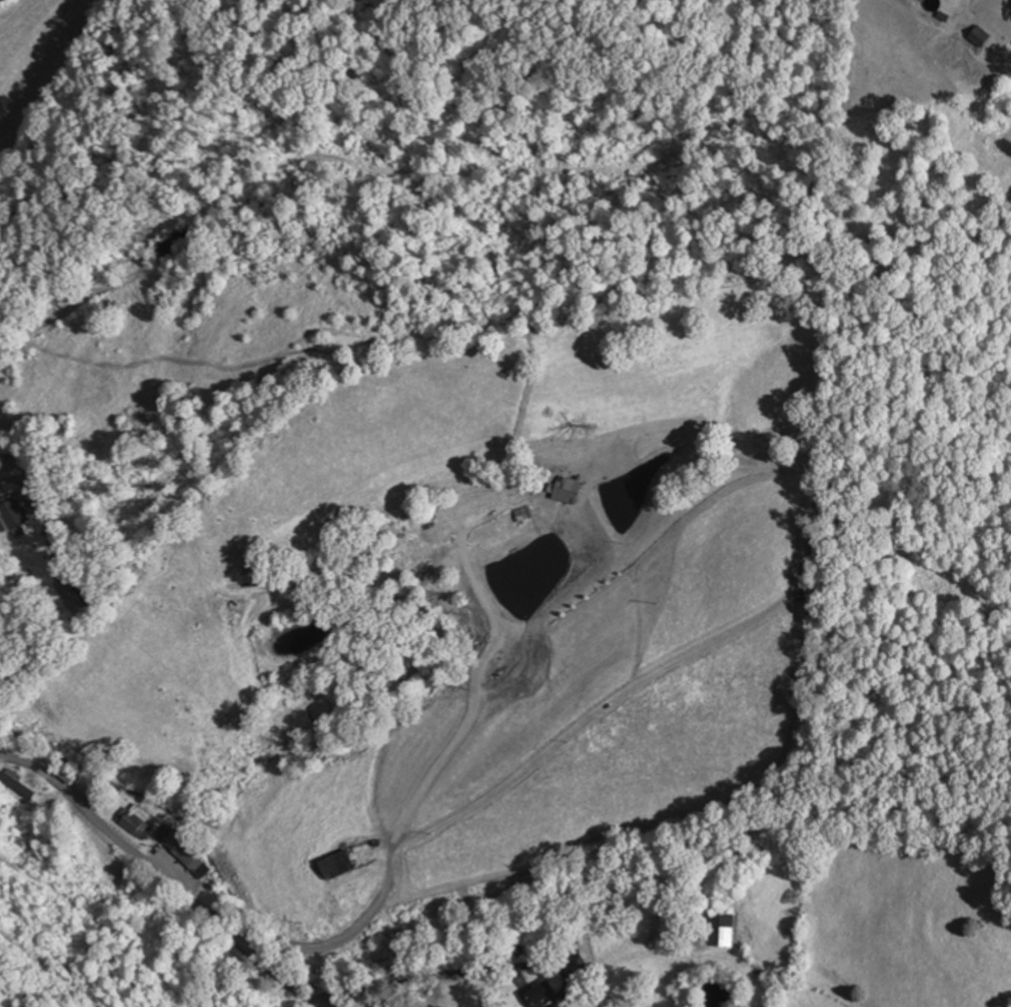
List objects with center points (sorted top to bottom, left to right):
building: (19, 513)
road: (342, 595)
building: (17, 787)
building: (136, 818)
building: (184, 851)
building: (341, 863)
road: (166, 876)
building: (725, 929)
building: (538, 992)

